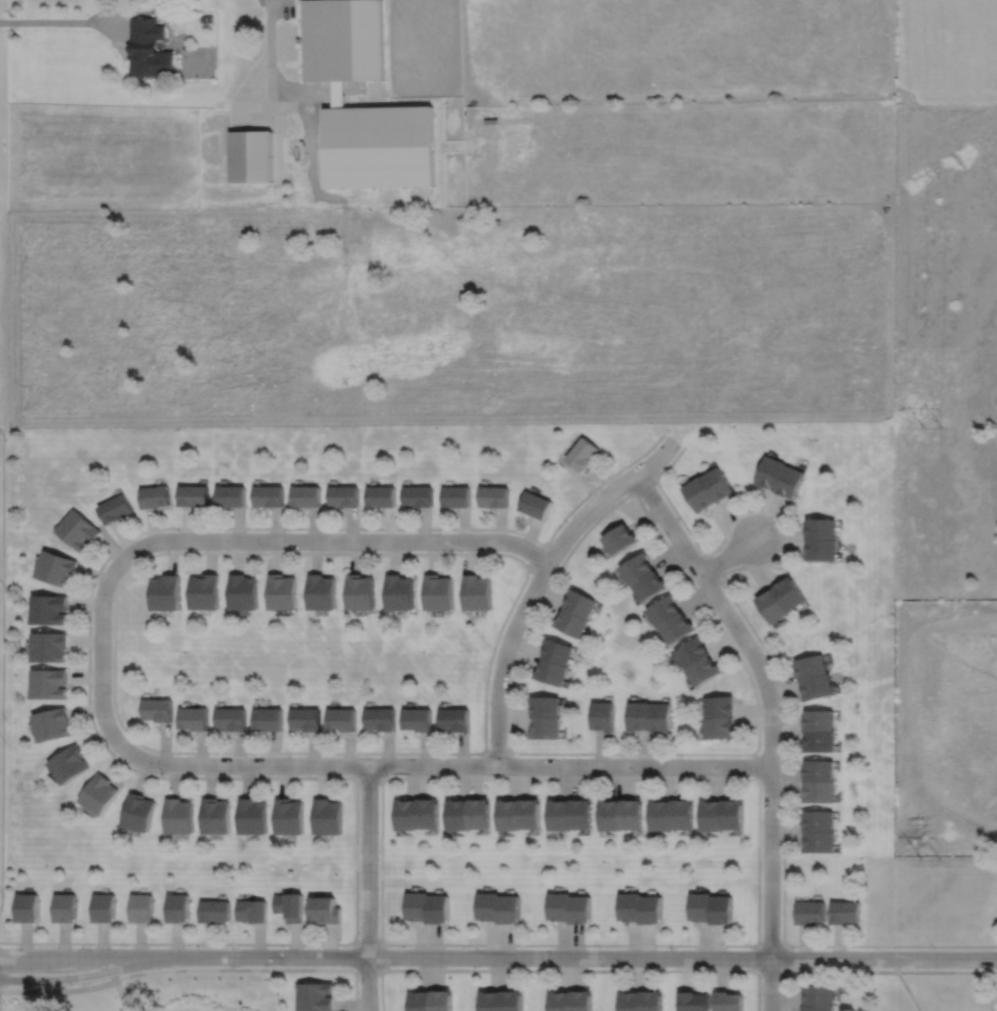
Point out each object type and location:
building: (206, 18)
road: (63, 21)
building: (342, 39)
building: (149, 49)
road: (270, 60)
road: (338, 90)
road: (253, 91)
building: (490, 120)
building: (379, 145)
crop: (681, 152)
building: (251, 155)
road: (312, 159)
power tower: (932, 428)
street lamp: (678, 448)
building: (583, 453)
road: (656, 459)
building: (770, 471)
building: (789, 481)
road: (643, 483)
building: (717, 483)
street lamp: (655, 485)
building: (699, 494)
building: (156, 496)
building: (195, 496)
building: (231, 496)
building: (268, 496)
building: (305, 496)
building: (344, 496)
building: (380, 496)
building: (417, 496)
building: (456, 496)
building: (494, 496)
street lamp: (590, 496)
building: (536, 505)
building: (117, 509)
street lamp: (778, 522)
building: (820, 528)
building: (78, 530)
street lamp: (174, 530)
street lamp: (365, 531)
building: (622, 539)
road: (338, 540)
street lamp: (263, 550)
street lamp: (463, 550)
building: (821, 550)
road: (163, 552)
road: (728, 555)
road: (535, 558)
road: (711, 567)
building: (56, 568)
building: (640, 568)
street lamp: (691, 577)
building: (653, 586)
building: (206, 592)
building: (243, 592)
building: (281, 592)
building: (321, 592)
building: (360, 592)
building: (167, 593)
building: (399, 593)
building: (438, 593)
building: (478, 593)
building: (789, 593)
road: (701, 598)
road: (527, 601)
building: (582, 604)
building: (772, 606)
street lamp: (111, 607)
building: (50, 610)
building: (667, 611)
street lamp: (530, 617)
building: (573, 623)
building: (681, 628)
road: (100, 645)
building: (49, 647)
building: (558, 652)
building: (694, 653)
street lamp: (763, 653)
road: (2, 667)
building: (810, 668)
building: (705, 672)
building: (552, 673)
building: (49, 684)
road: (778, 687)
building: (816, 688)
street lamp: (111, 693)
road: (768, 697)
street lamp: (487, 707)
building: (546, 707)
building: (720, 707)
building: (159, 710)
building: (604, 717)
building: (640, 717)
building: (662, 718)
building: (194, 719)
building: (233, 719)
building: (268, 720)
building: (305, 720)
building: (341, 720)
building: (380, 720)
building: (418, 720)
building: (456, 720)
building: (819, 721)
building: (53, 725)
building: (547, 729)
building: (720, 729)
road: (96, 732)
street lamp: (756, 740)
building: (820, 742)
street lamp: (760, 750)
road: (497, 753)
street lamp: (290, 755)
street lamp: (479, 755)
street lamp: (681, 756)
road: (758, 764)
building: (70, 765)
road: (441, 765)
building: (819, 768)
street lamp: (163, 774)
street lamp: (388, 776)
street lamp: (596, 776)
road: (368, 777)
building: (820, 790)
building: (101, 795)
building: (661, 812)
building: (682, 812)
building: (733, 812)
building: (712, 813)
building: (140, 814)
building: (631, 814)
building: (611, 815)
building: (407, 816)
building: (428, 816)
building: (480, 816)
building: (531, 816)
building: (582, 816)
building: (459, 817)
building: (510, 817)
building: (561, 817)
building: (180, 818)
building: (217, 818)
building: (254, 818)
building: (289, 818)
building: (327, 818)
building: (819, 818)
building: (820, 840)
street lamp: (780, 855)
street lamp: (378, 859)
power tower: (932, 859)
road: (368, 860)
building: (417, 903)
building: (489, 903)
building: (289, 904)
building: (558, 904)
building: (629, 904)
building: (700, 905)
building: (438, 906)
building: (509, 906)
building: (28, 907)
building: (66, 907)
building: (143, 907)
building: (324, 907)
building: (578, 907)
building: (650, 907)
building: (105, 908)
building: (179, 908)
building: (251, 908)
building: (721, 908)
building: (811, 910)
building: (845, 910)
building: (214, 911)
park: (929, 932)
street lamp: (358, 933)
street lamp: (232, 940)
road: (367, 943)
road: (749, 945)
street lamp: (125, 946)
street lamp: (463, 947)
street lamp: (599, 948)
street lamp: (675, 948)
street lamp: (793, 948)
street lamp: (934, 948)
road: (758, 952)
road: (77, 956)
road: (575, 957)
road: (895, 965)
road: (505, 969)
road: (947, 972)
road: (78, 976)
road: (368, 983)
road: (770, 984)
street lamp: (72, 985)
road: (355, 990)
road: (381, 990)
road: (58, 991)
road: (782, 991)
road: (909, 991)
building: (819, 994)
road: (122, 995)
building: (316, 995)
park: (164, 998)
building: (420, 999)
building: (442, 999)
building: (512, 999)
building: (491, 1000)
building: (560, 1000)
building: (581, 1000)
building: (629, 1000)
building: (650, 1000)
building: (727, 1000)
building: (692, 1001)
street lamp: (761, 1001)
building: (818, 1007)

